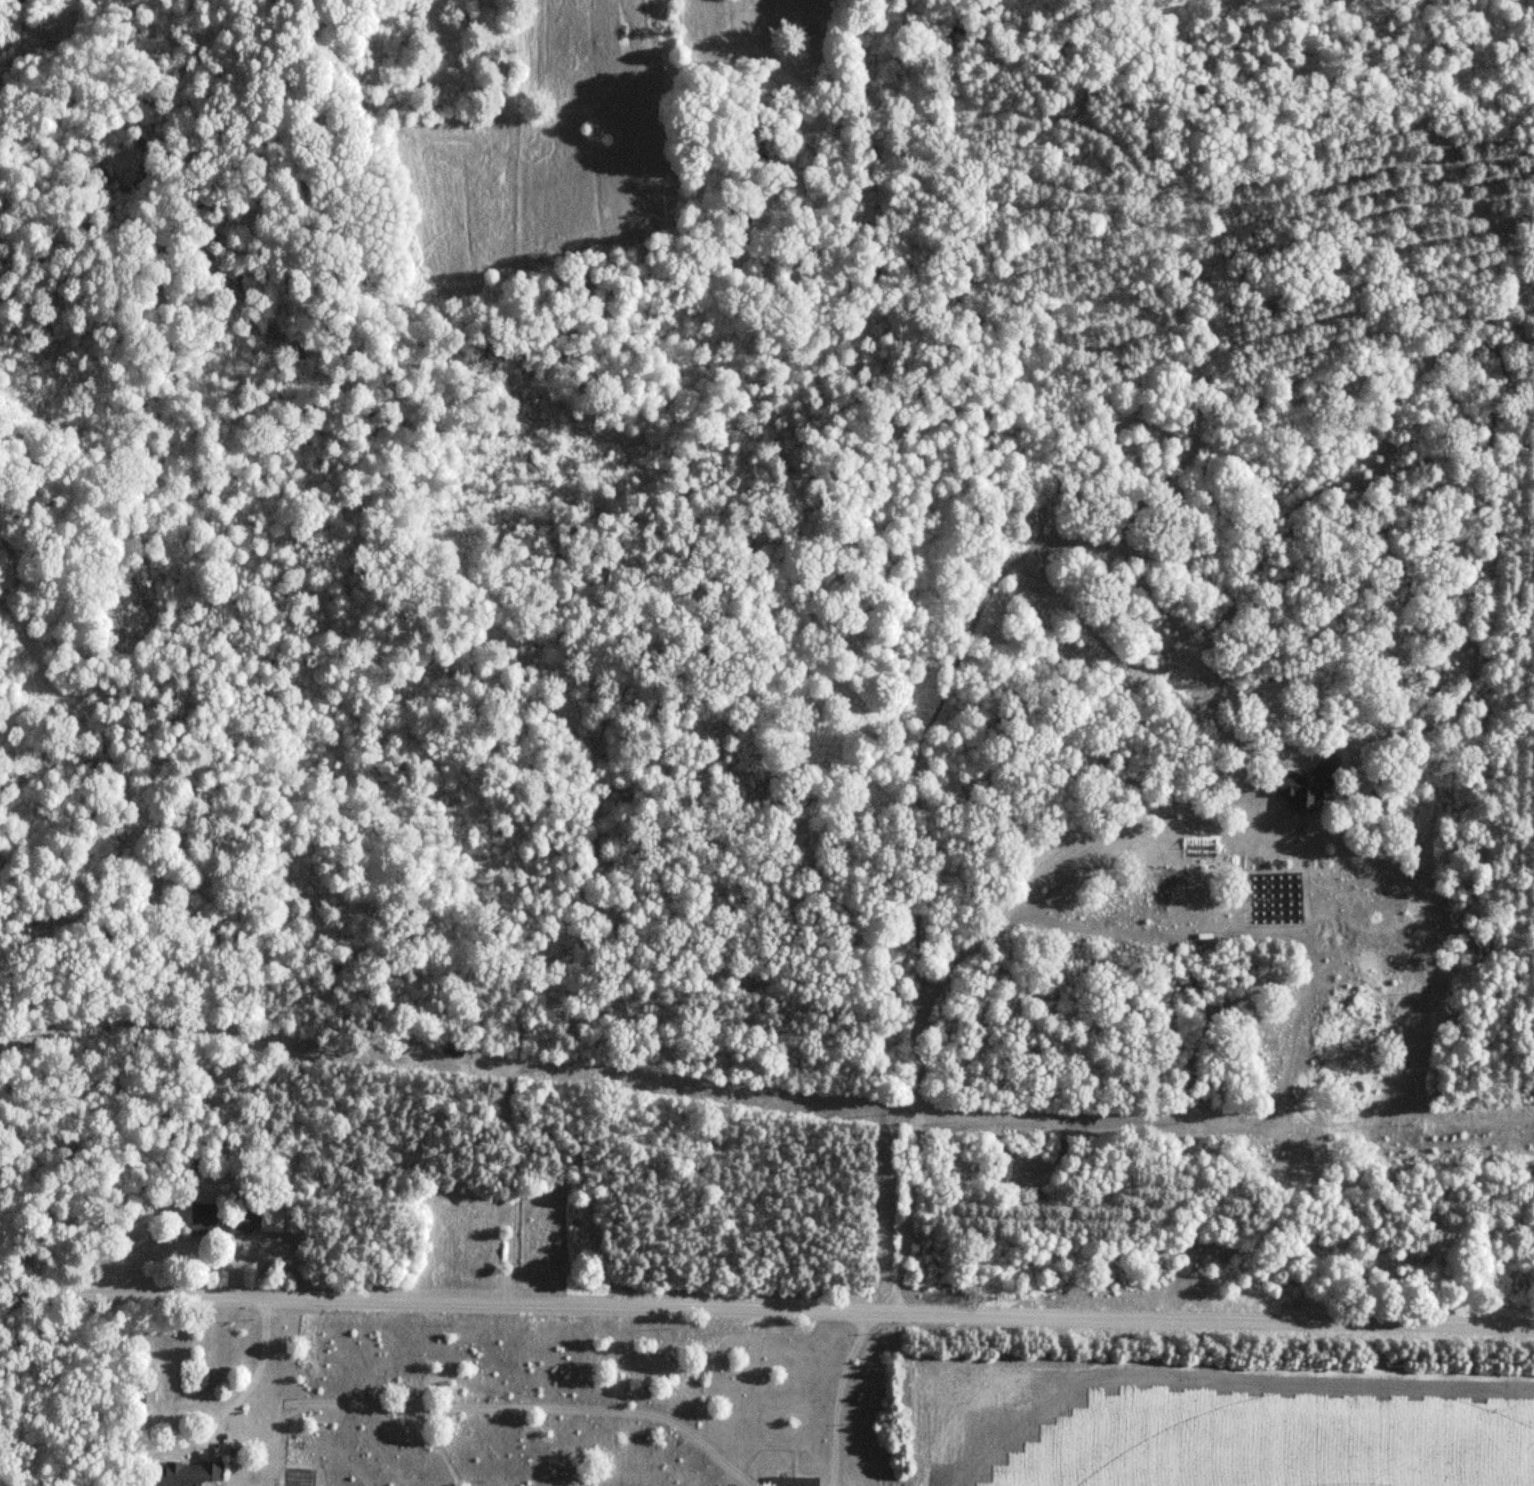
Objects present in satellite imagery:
building: (1310, 784)
road: (980, 941)
building: (450, 1054)
building: (202, 1219)
building: (257, 1221)
road: (767, 1308)
building: (145, 1380)
road: (252, 1382)
building: (188, 1472)
building: (794, 1481)

